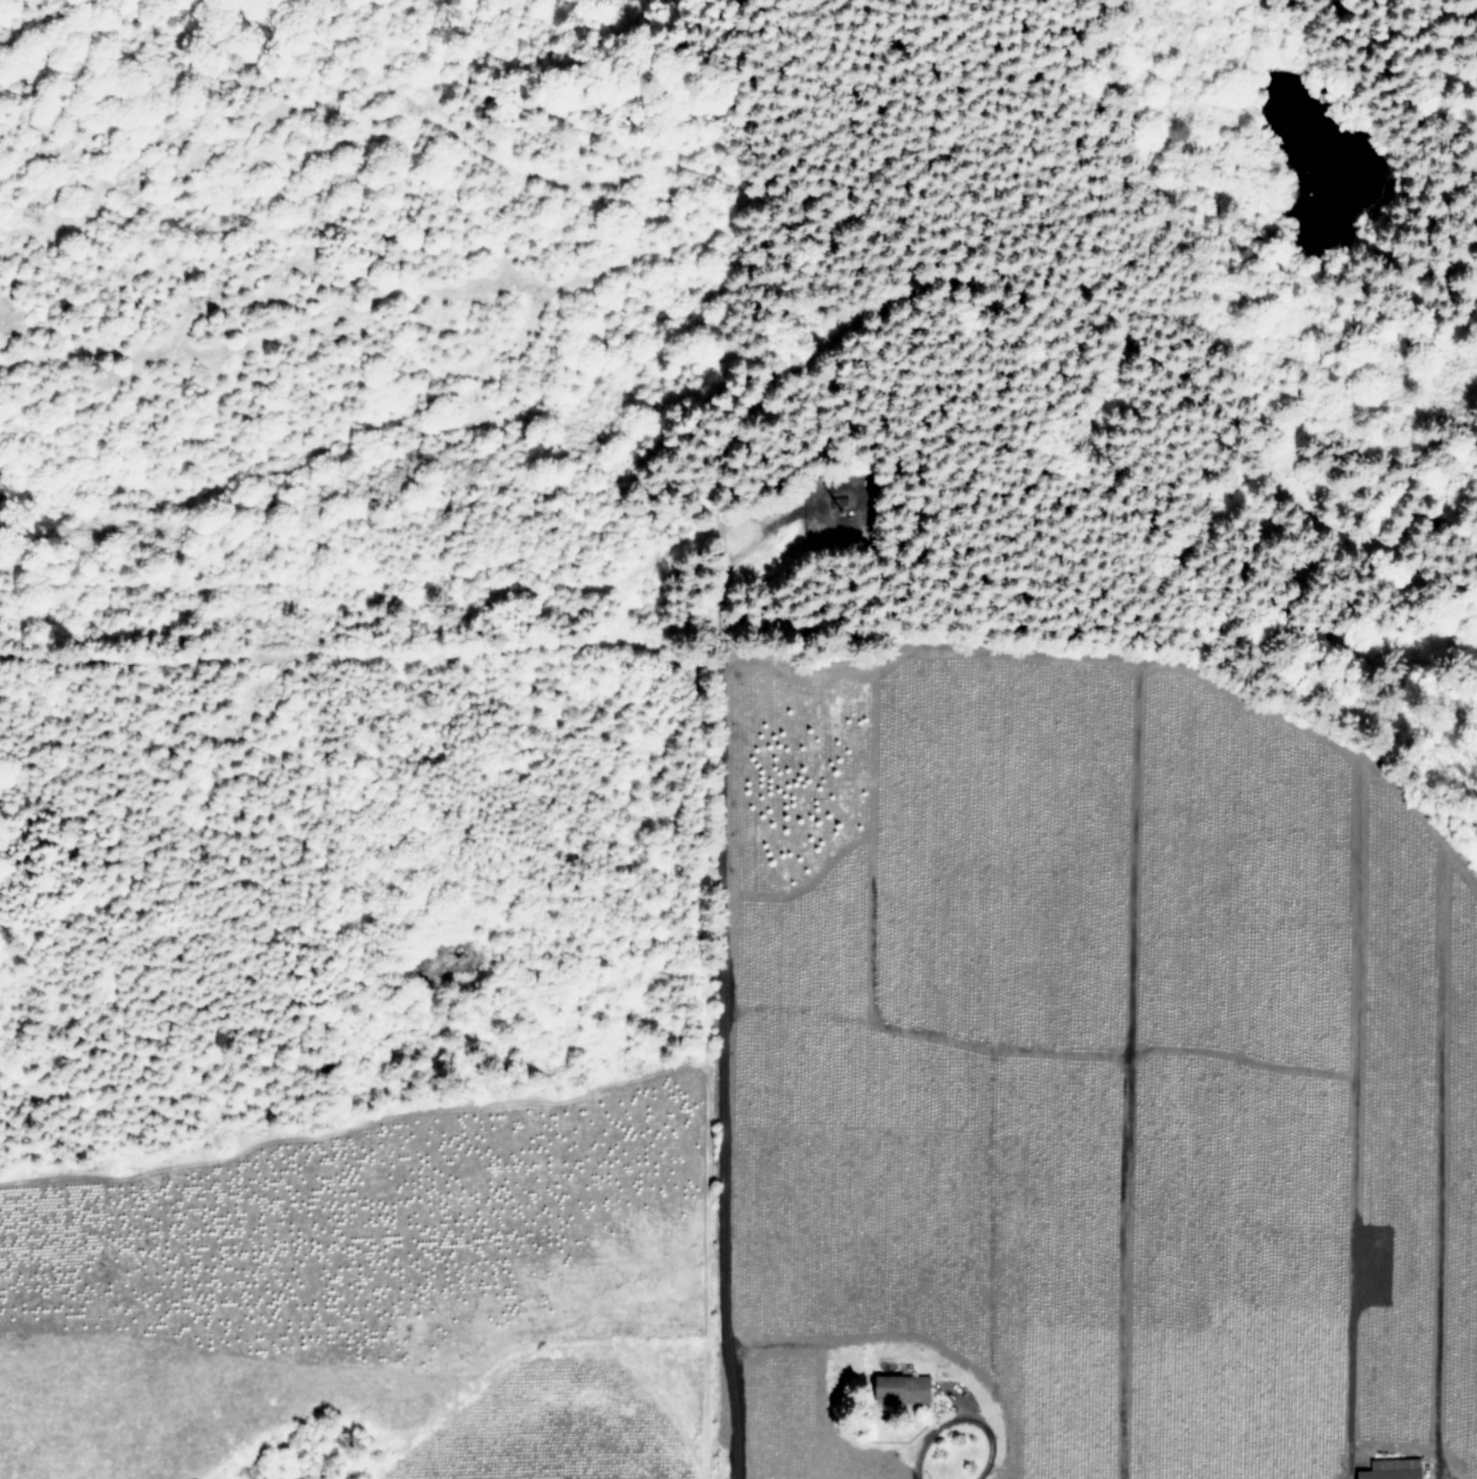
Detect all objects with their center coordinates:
road: (405, 1236)
building: (908, 1387)
road: (957, 1415)
building: (1396, 1468)

